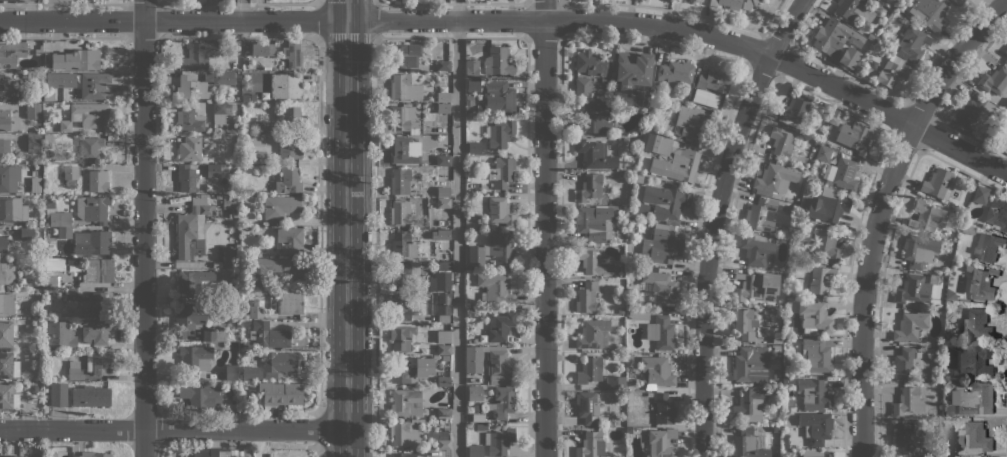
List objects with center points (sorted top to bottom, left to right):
building: (8, 0)
building: (699, 0)
building: (959, 1)
road: (374, 2)
building: (727, 3)
road: (242, 10)
building: (858, 11)
building: (929, 12)
road: (467, 19)
building: (904, 19)
road: (375, 20)
building: (870, 36)
building: (834, 37)
building: (912, 43)
building: (865, 44)
building: (262, 48)
building: (1006, 50)
building: (11, 53)
building: (200, 54)
building: (292, 55)
building: (404, 55)
building: (848, 56)
building: (76, 60)
building: (497, 60)
building: (1006, 61)
building: (592, 64)
building: (443, 65)
building: (471, 68)
building: (632, 69)
building: (858, 72)
building: (893, 72)
building: (675, 73)
building: (60, 79)
building: (4, 81)
building: (714, 81)
building: (994, 81)
building: (201, 84)
building: (94, 85)
building: (286, 85)
building: (473, 85)
building: (403, 87)
building: (582, 87)
building: (23, 92)
building: (48, 96)
building: (442, 96)
building: (500, 96)
building: (246, 97)
building: (36, 98)
building: (705, 98)
building: (470, 100)
building: (645, 106)
building: (1005, 106)
building: (443, 108)
building: (795, 109)
building: (32, 110)
building: (974, 111)
building: (221, 112)
building: (86, 115)
building: (289, 116)
building: (835, 117)
building: (1006, 117)
building: (594, 118)
building: (189, 119)
building: (404, 119)
building: (8, 120)
building: (692, 121)
building: (261, 126)
building: (499, 133)
building: (857, 137)
building: (1003, 138)
building: (446, 139)
building: (260, 140)
building: (781, 141)
building: (33, 143)
building: (657, 144)
building: (4, 146)
building: (474, 147)
building: (90, 148)
building: (189, 148)
building: (288, 148)
building: (403, 150)
road: (960, 150)
building: (823, 153)
building: (594, 154)
building: (258, 156)
building: (21, 160)
building: (443, 160)
building: (677, 165)
building: (213, 171)
building: (501, 172)
building: (842, 174)
building: (70, 175)
building: (9, 178)
building: (186, 178)
building: (468, 178)
building: (775, 178)
building: (638, 179)
building: (97, 180)
building: (288, 180)
building: (400, 181)
building: (938, 182)
building: (36, 184)
building: (589, 187)
building: (442, 191)
building: (992, 192)
building: (980, 194)
building: (240, 197)
building: (218, 198)
building: (429, 200)
building: (228, 202)
building: (665, 202)
building: (443, 203)
building: (50, 205)
building: (281, 206)
building: (827, 206)
building: (92, 208)
building: (12, 210)
building: (415, 210)
building: (640, 210)
road: (881, 210)
building: (500, 211)
building: (400, 213)
building: (997, 213)
building: (761, 214)
building: (927, 216)
building: (58, 218)
building: (434, 218)
road: (714, 220)
building: (592, 221)
building: (843, 223)
building: (191, 225)
building: (480, 227)
road: (143, 228)
road: (347, 228)
road: (457, 228)
road: (544, 228)
building: (968, 229)
building: (64, 232)
building: (27, 233)
building: (443, 234)
building: (290, 239)
building: (92, 242)
building: (3, 243)
building: (826, 244)
building: (402, 245)
building: (665, 245)
road: (376, 246)
building: (988, 247)
building: (756, 250)
building: (493, 251)
building: (914, 251)
building: (243, 252)
building: (230, 257)
building: (593, 260)
building: (74, 261)
building: (630, 261)
building: (54, 265)
building: (98, 270)
building: (273, 270)
building: (7, 273)
building: (402, 275)
building: (442, 277)
building: (820, 280)
building: (50, 281)
building: (191, 281)
building: (981, 283)
building: (756, 286)
building: (659, 287)
building: (495, 288)
building: (915, 288)
building: (37, 294)
building: (950, 294)
building: (231, 296)
building: (586, 297)
building: (71, 299)
building: (787, 300)
building: (100, 302)
building: (290, 302)
building: (7, 304)
building: (401, 306)
building: (443, 307)
building: (256, 311)
building: (621, 311)
building: (814, 317)
building: (189, 318)
building: (230, 323)
building: (976, 324)
building: (743, 325)
building: (910, 325)
building: (500, 327)
building: (948, 329)
building: (96, 331)
building: (7, 333)
building: (660, 333)
building: (61, 335)
building: (213, 335)
building: (269, 335)
building: (592, 335)
building: (443, 336)
building: (948, 336)
building: (402, 338)
building: (774, 340)
building: (786, 340)
building: (777, 347)
building: (927, 349)
building: (443, 350)
building: (39, 353)
building: (777, 353)
building: (817, 354)
building: (193, 356)
building: (629, 357)
building: (974, 360)
building: (98, 362)
building: (490, 363)
building: (6, 364)
building: (750, 364)
building: (773, 364)
building: (279, 365)
building: (904, 365)
building: (410, 369)
building: (73, 370)
building: (590, 370)
building: (786, 371)
building: (231, 372)
building: (656, 372)
building: (251, 373)
building: (788, 380)
building: (443, 381)
building: (615, 382)
building: (240, 385)
building: (948, 385)
building: (33, 388)
building: (474, 392)
building: (58, 394)
building: (201, 394)
building: (246, 394)
building: (282, 394)
building: (814, 395)
building: (5, 396)
building: (90, 396)
building: (973, 398)
building: (908, 401)
building: (502, 402)
building: (406, 403)
building: (750, 405)
building: (587, 406)
building: (476, 407)
building: (663, 408)
building: (443, 413)
building: (440, 423)
building: (921, 423)
building: (607, 424)
building: (481, 426)
building: (816, 427)
building: (777, 428)
road: (174, 429)
building: (407, 433)
building: (903, 437)
building: (974, 437)
building: (439, 438)
building: (785, 439)
building: (499, 441)
building: (660, 443)
building: (591, 445)
building: (750, 445)
building: (935, 449)
building: (475, 451)
building: (948, 452)
building: (41, 453)
building: (212, 453)
building: (816, 453)
building: (51, 454)
building: (93, 454)
building: (11, 455)
building: (404, 455)

